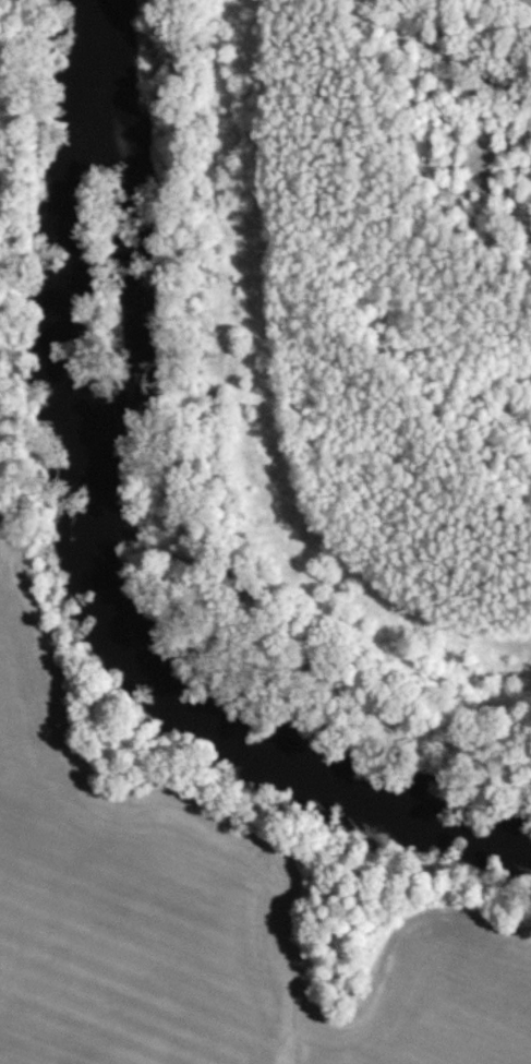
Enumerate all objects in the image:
river: (96, 553)

